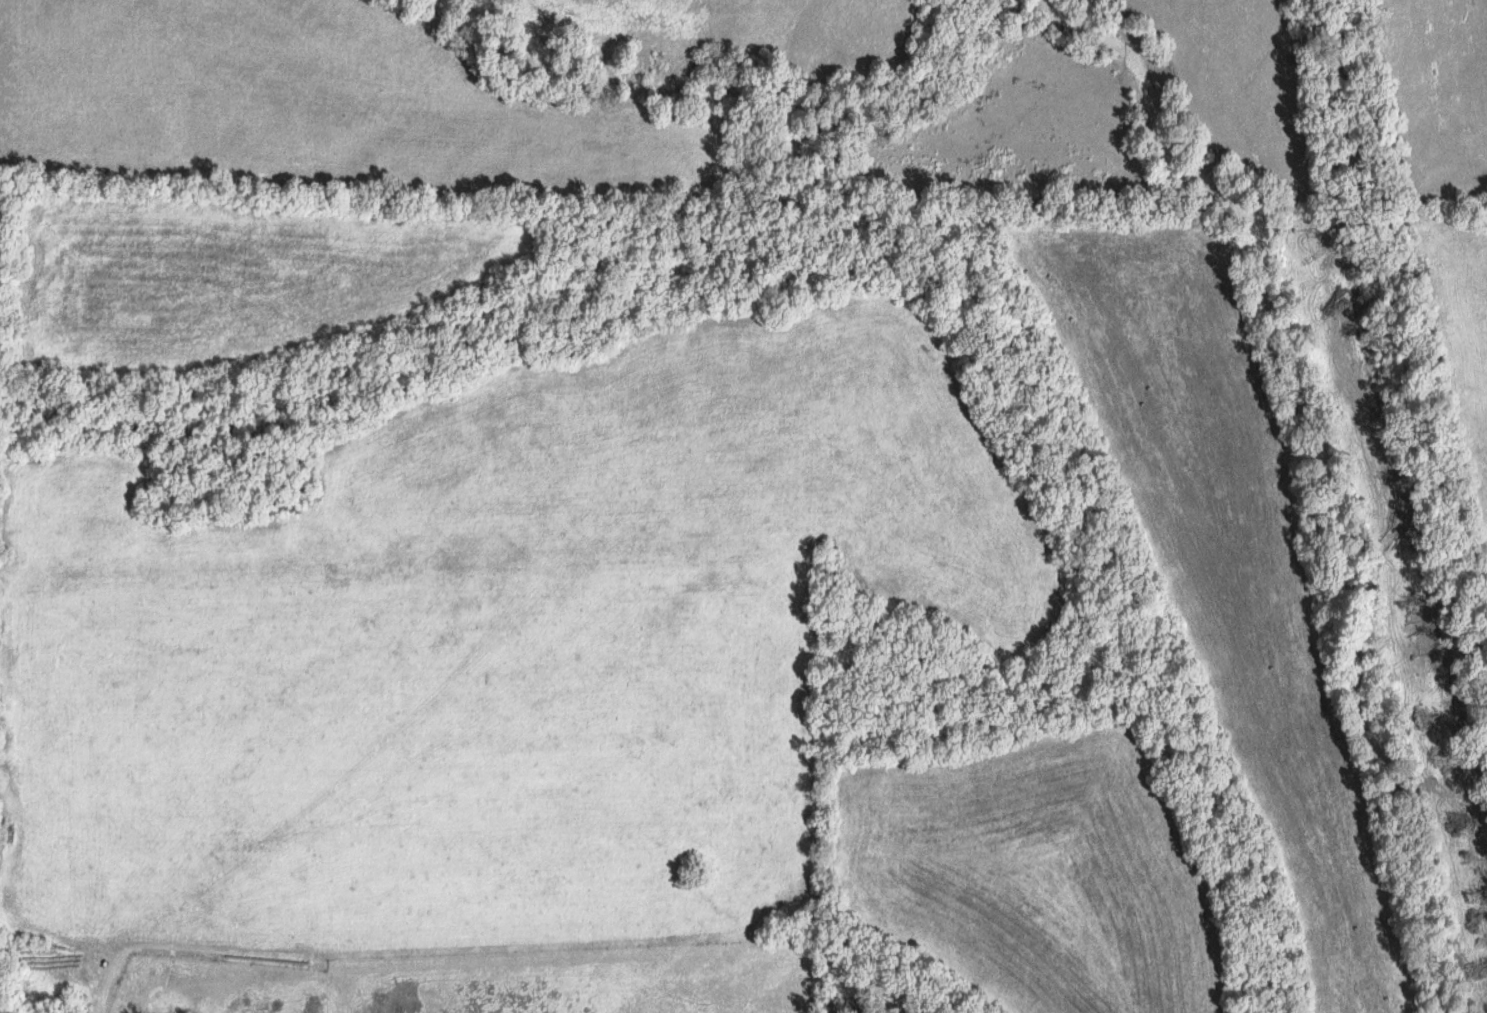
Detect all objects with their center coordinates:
road: (13, 1009)

